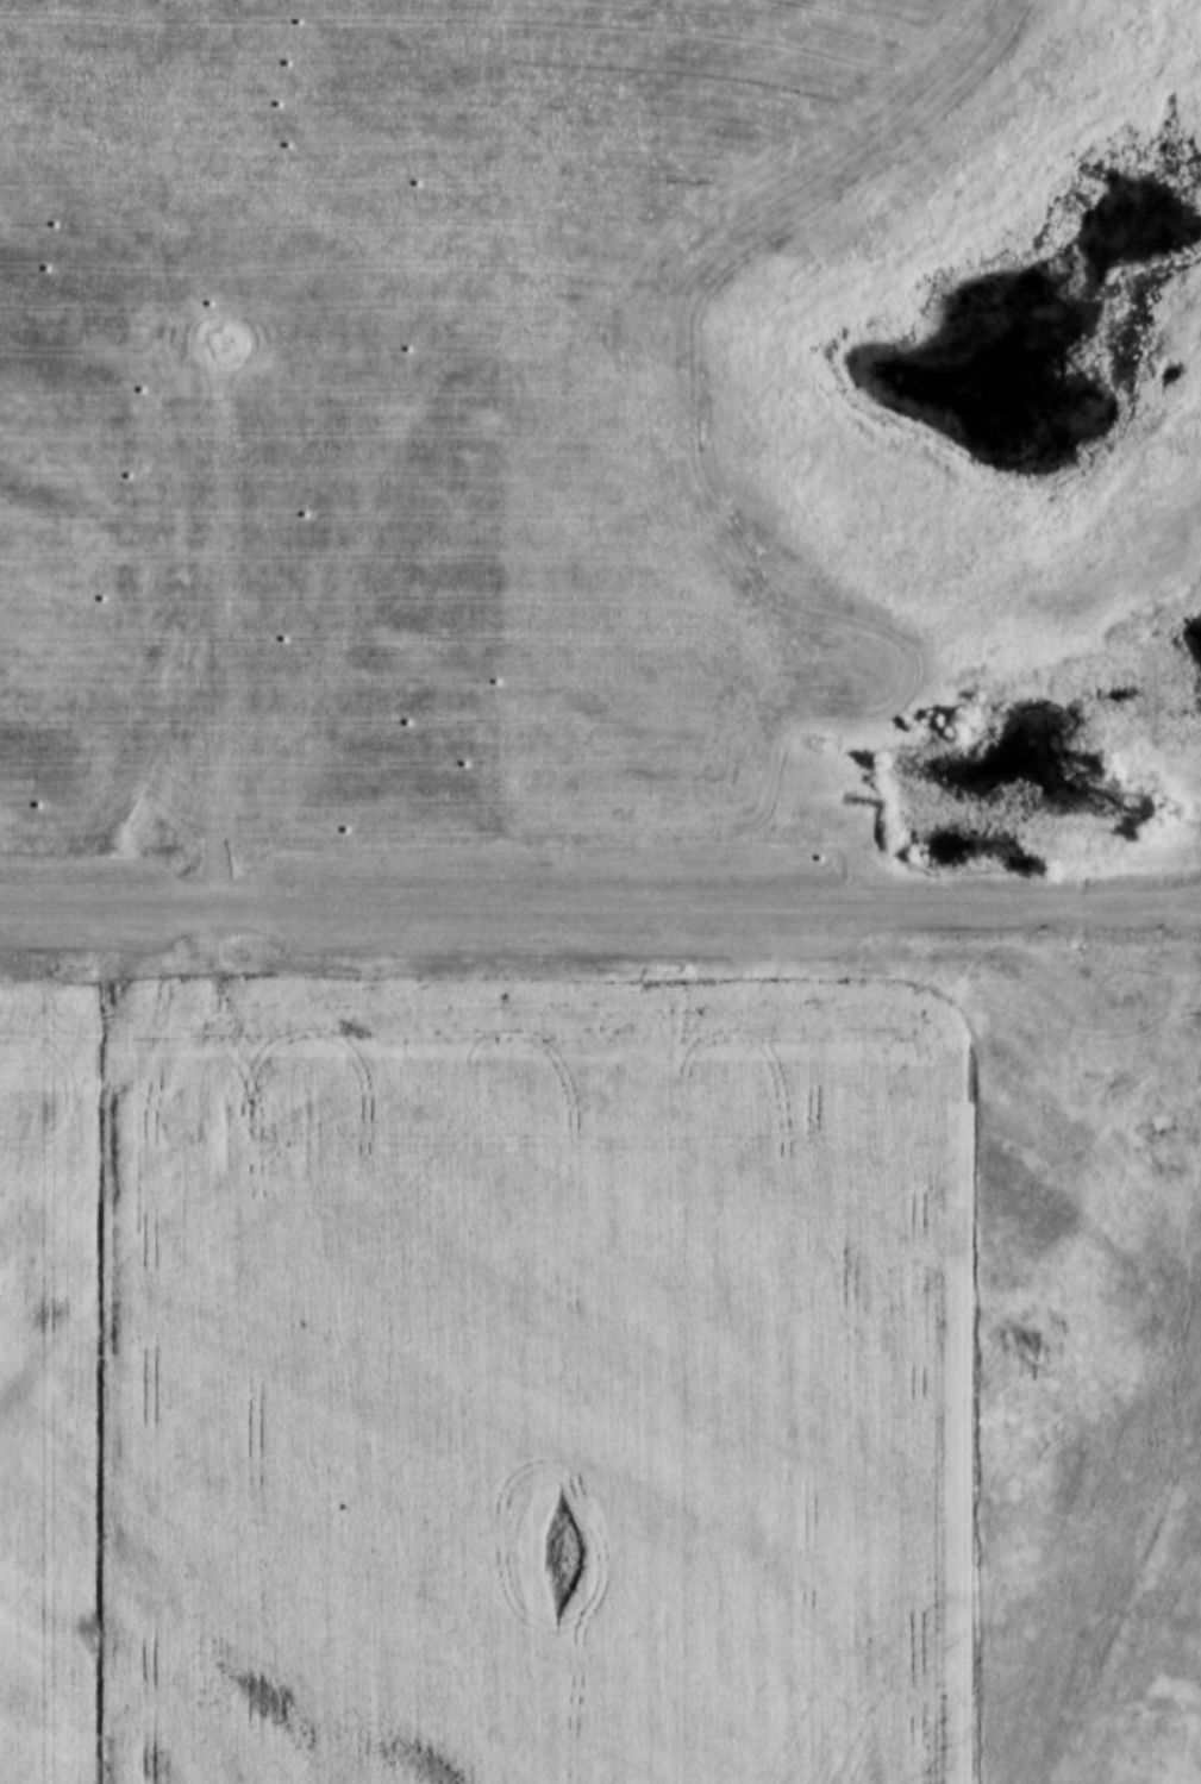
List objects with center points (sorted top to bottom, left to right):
road: (601, 900)

